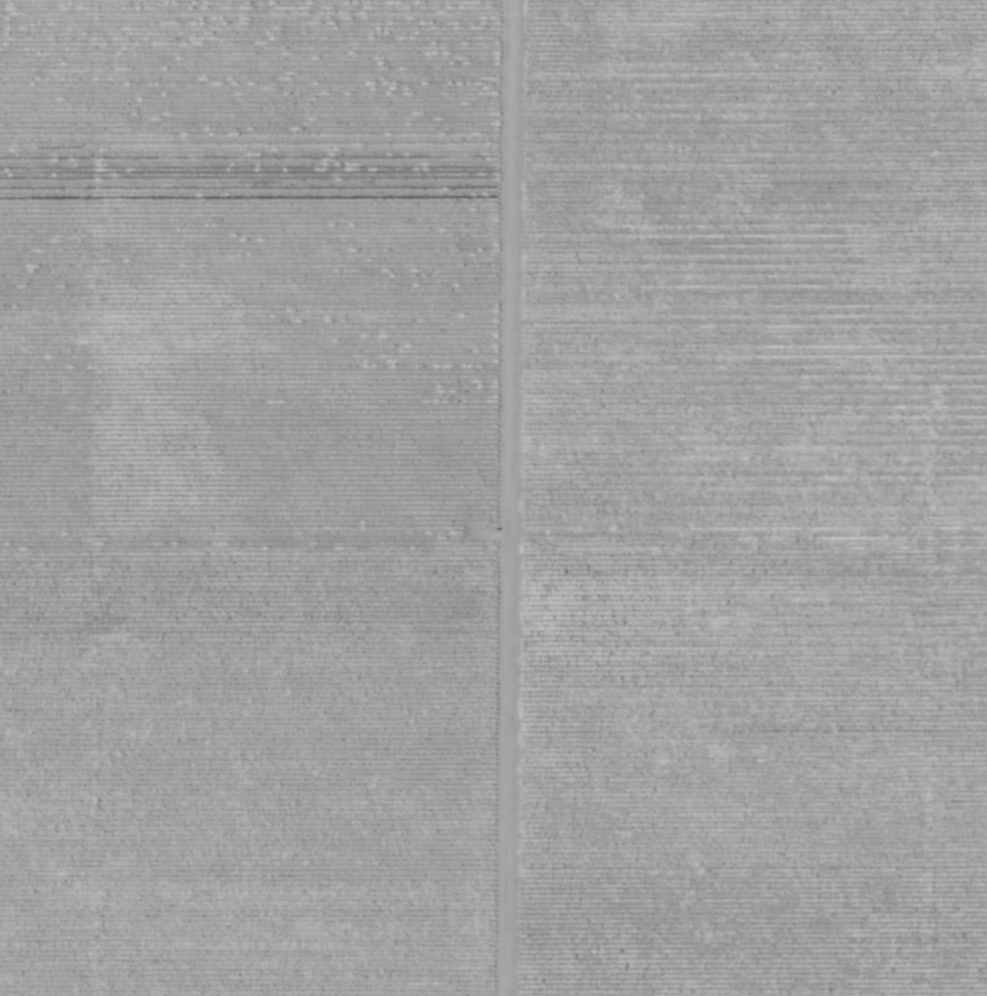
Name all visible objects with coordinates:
road: (504, 498)

